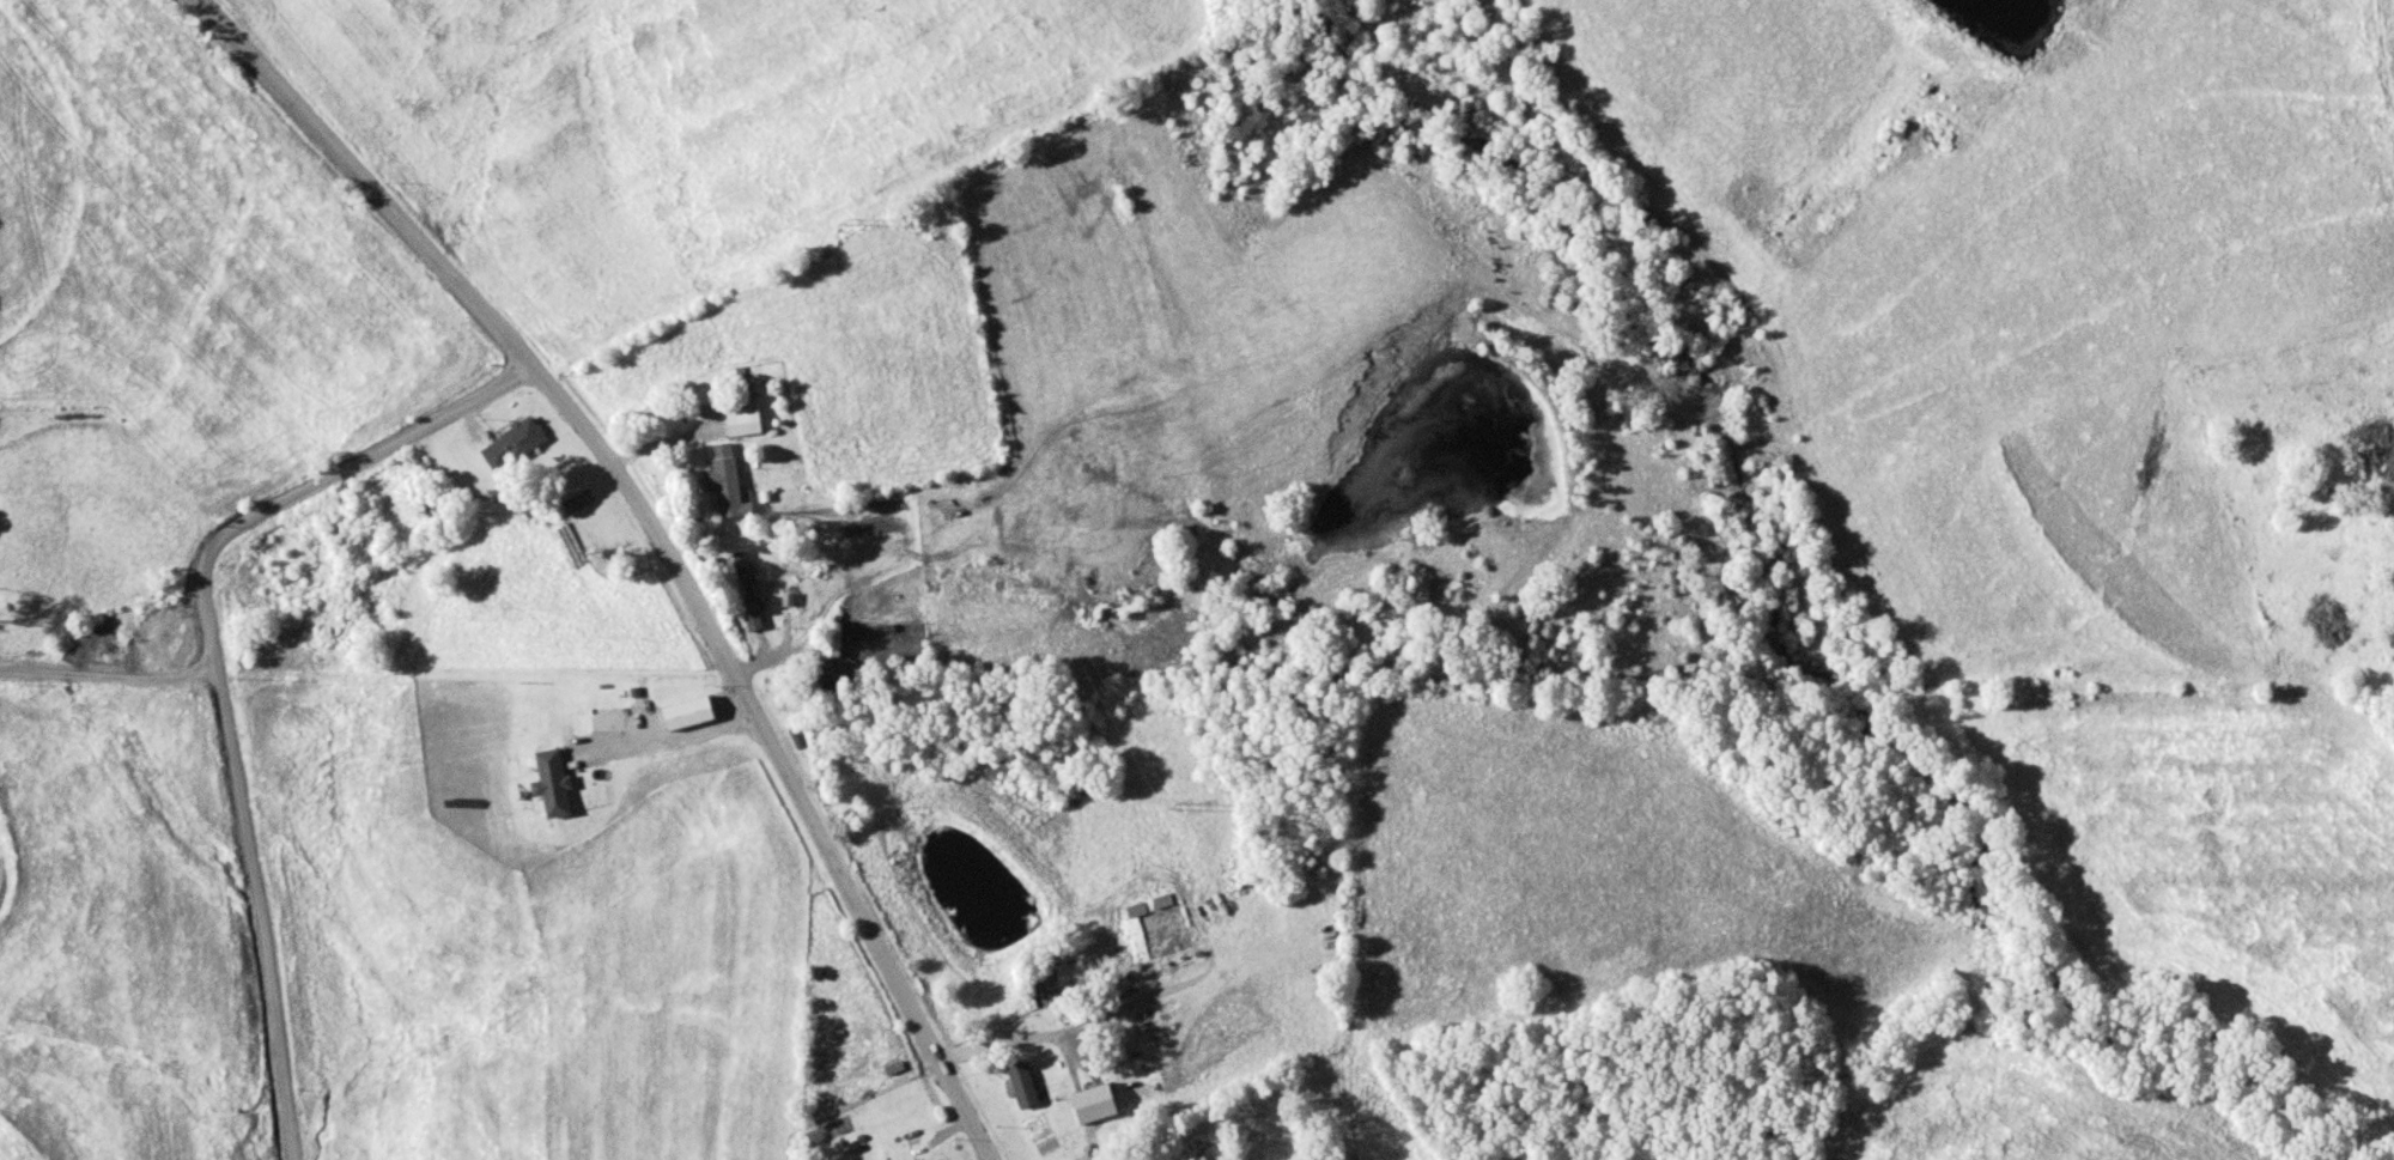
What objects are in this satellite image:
power tower: (849, 225)
road: (348, 484)
road: (657, 541)
road: (101, 640)
road: (669, 740)
power tower: (1172, 810)
road: (244, 900)

